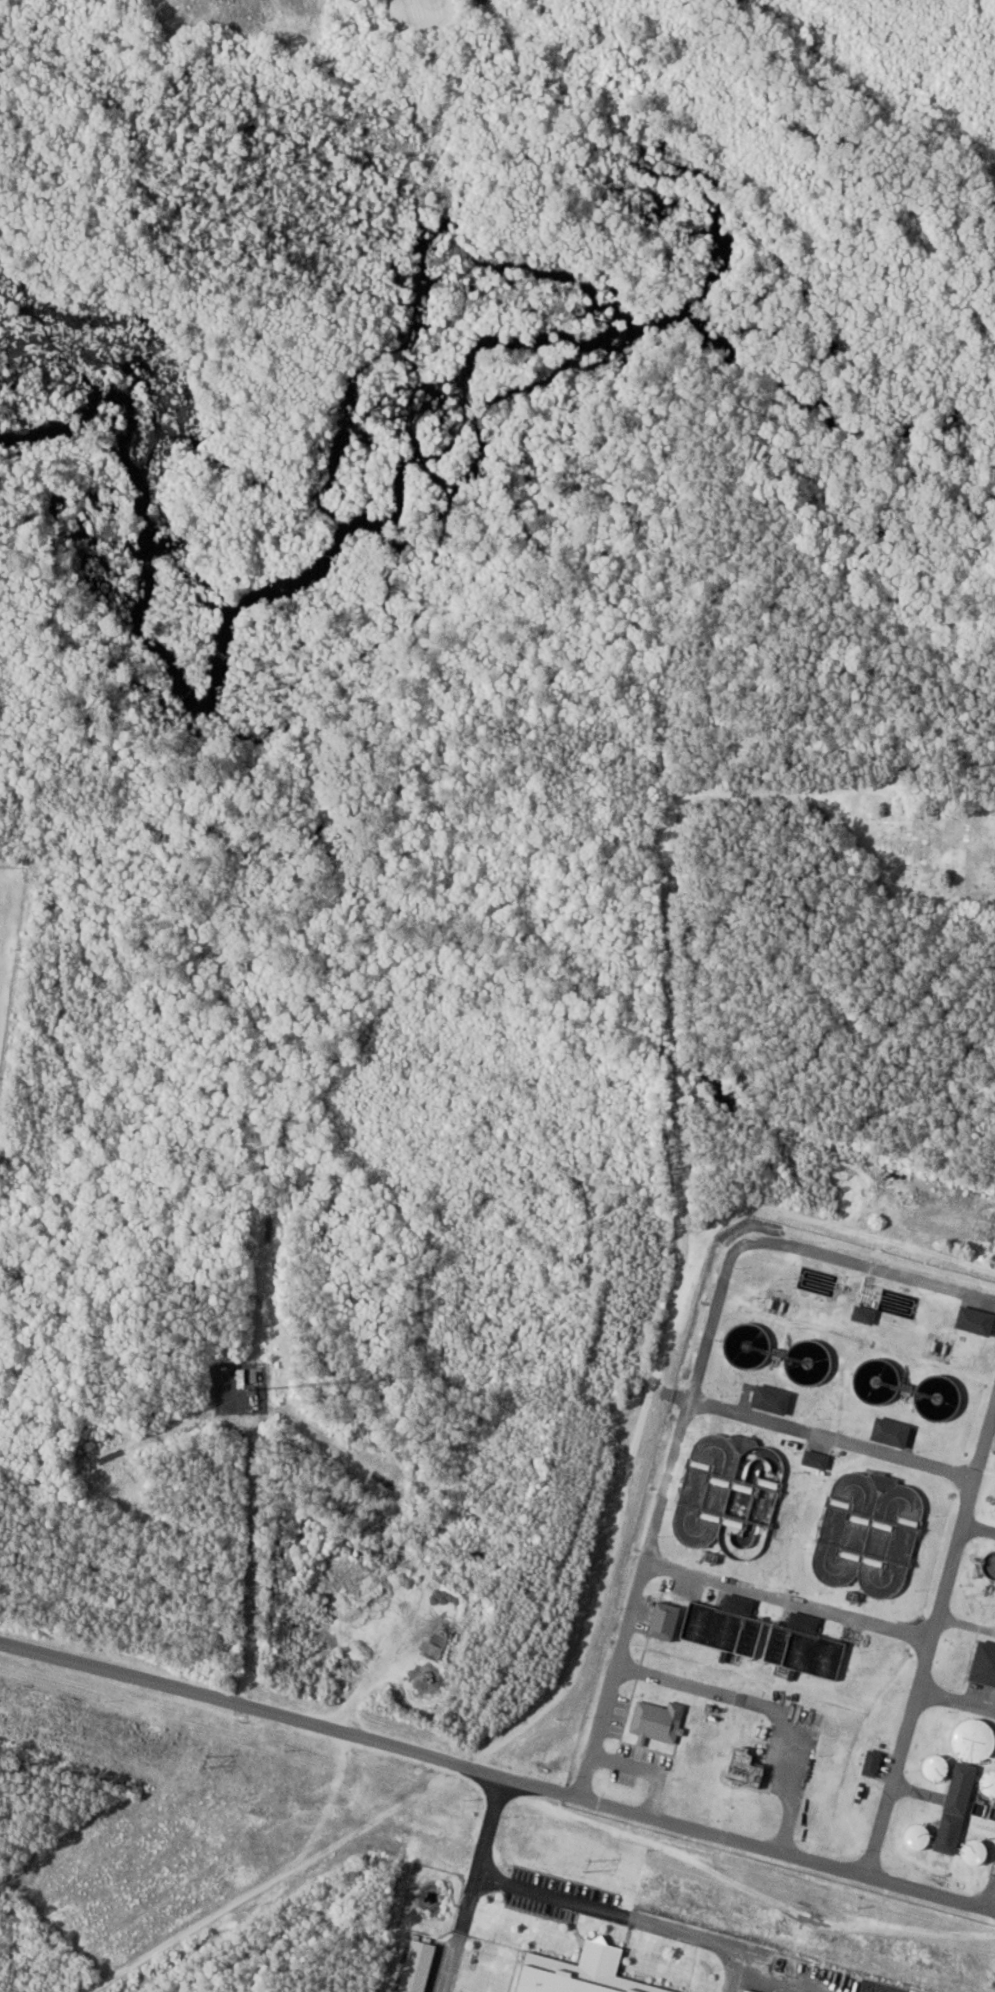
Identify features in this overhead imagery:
road: (489, 1)
park: (8, 916)
building: (975, 1321)
building: (243, 1379)
building: (256, 1379)
building: (894, 1433)
wastewater plant: (813, 1579)
building: (740, 1604)
building: (667, 1621)
building: (805, 1623)
building: (986, 1664)
building: (658, 1724)
building: (976, 1741)
power tower: (204, 1761)
building: (746, 1767)
building: (874, 1768)
building: (938, 1768)
road: (497, 1779)
building: (959, 1809)
road: (490, 1821)
building: (921, 1838)
power tower: (586, 1866)
road: (624, 1915)
road: (459, 1927)
building: (577, 1973)
power tower: (993, 1977)
building: (747, 1991)

